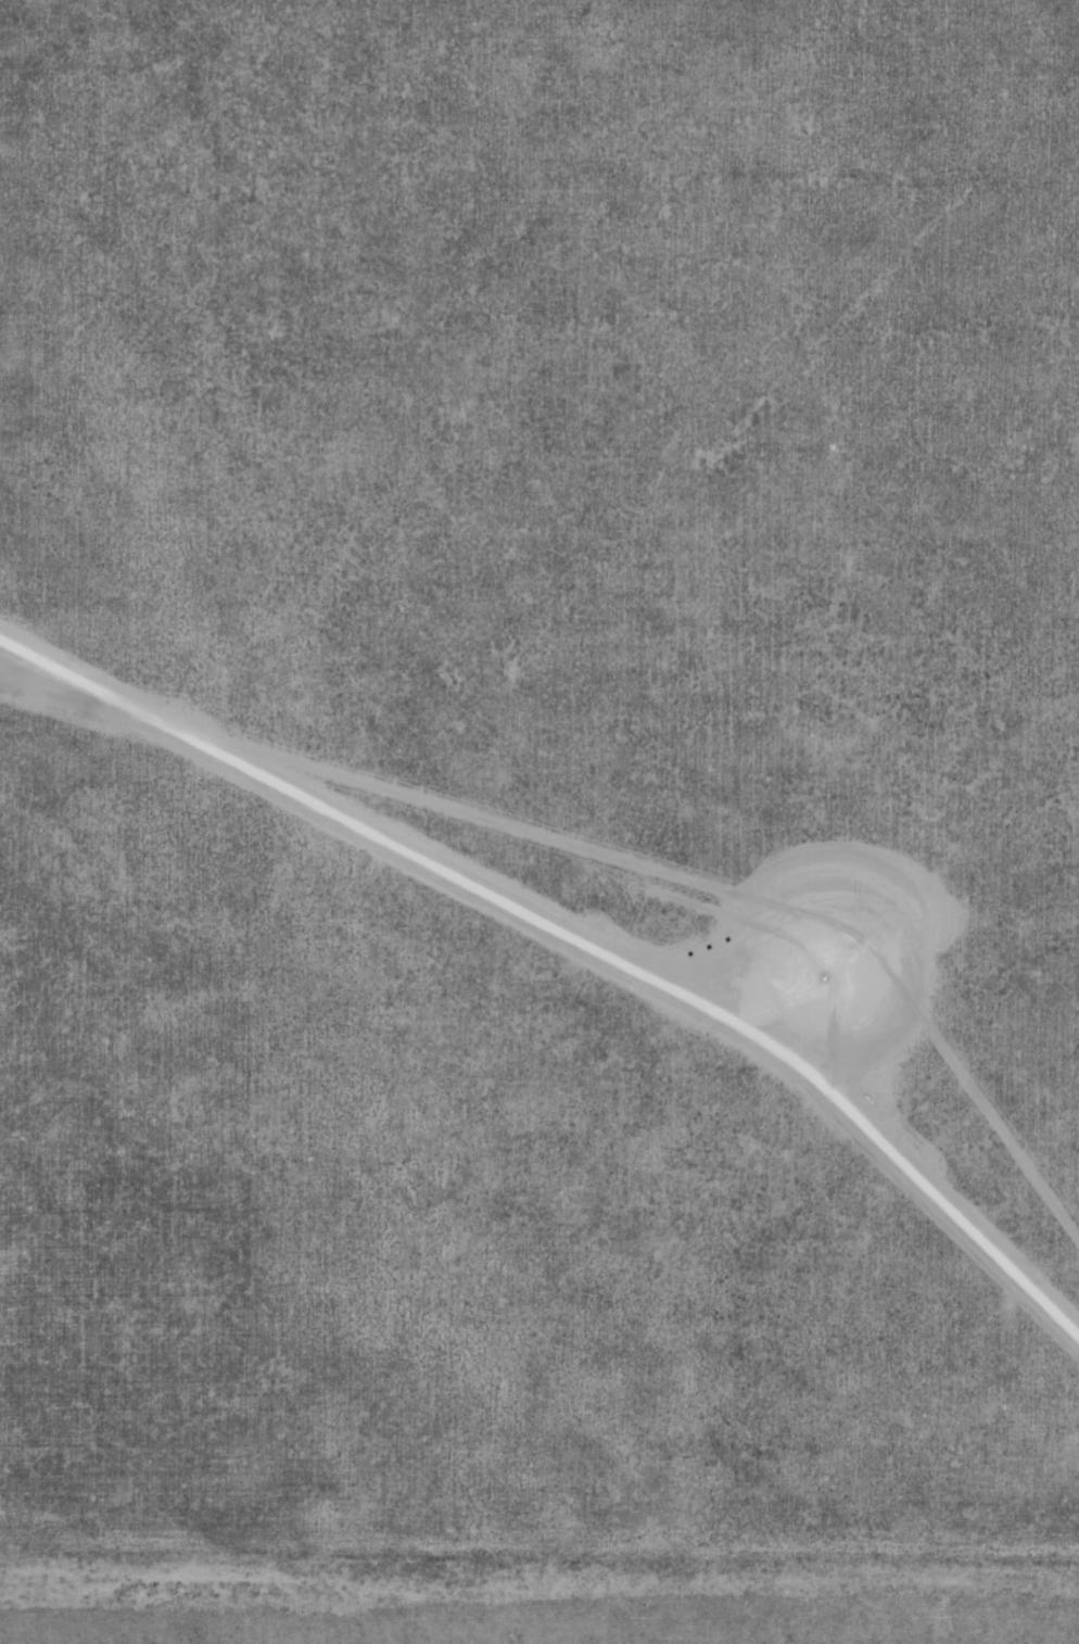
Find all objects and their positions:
wind turbine: (807, 952)

